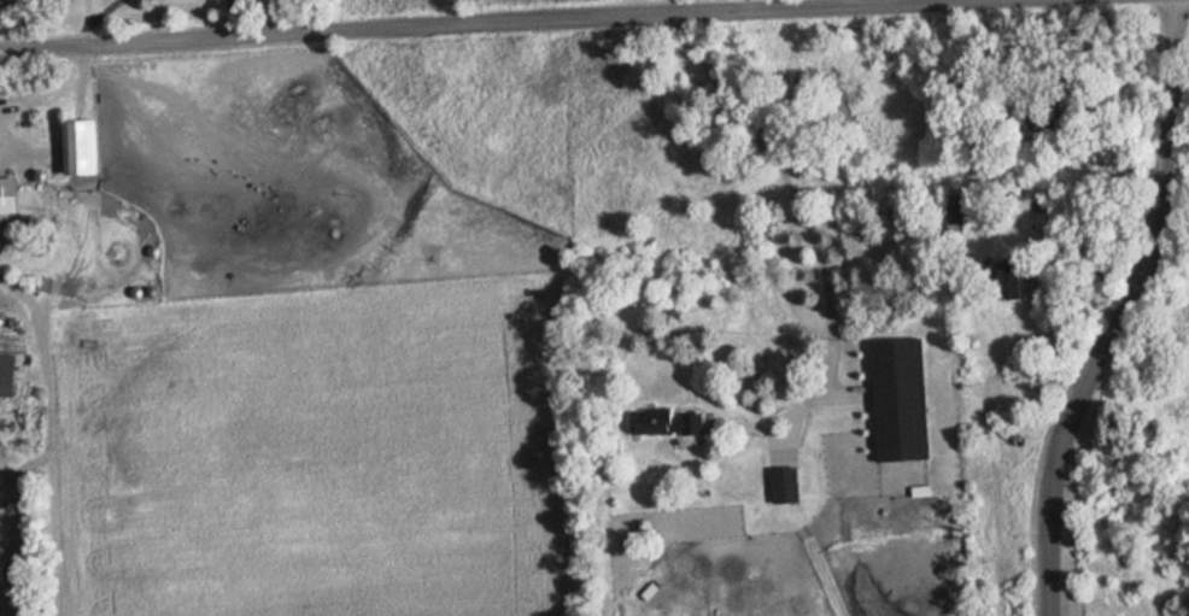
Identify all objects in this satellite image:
road: (954, 0)
road: (488, 25)
road: (4, 130)
building: (87, 145)
building: (10, 194)
road: (814, 241)
building: (48, 284)
road: (36, 307)
road: (1119, 310)
building: (8, 374)
building: (670, 420)

